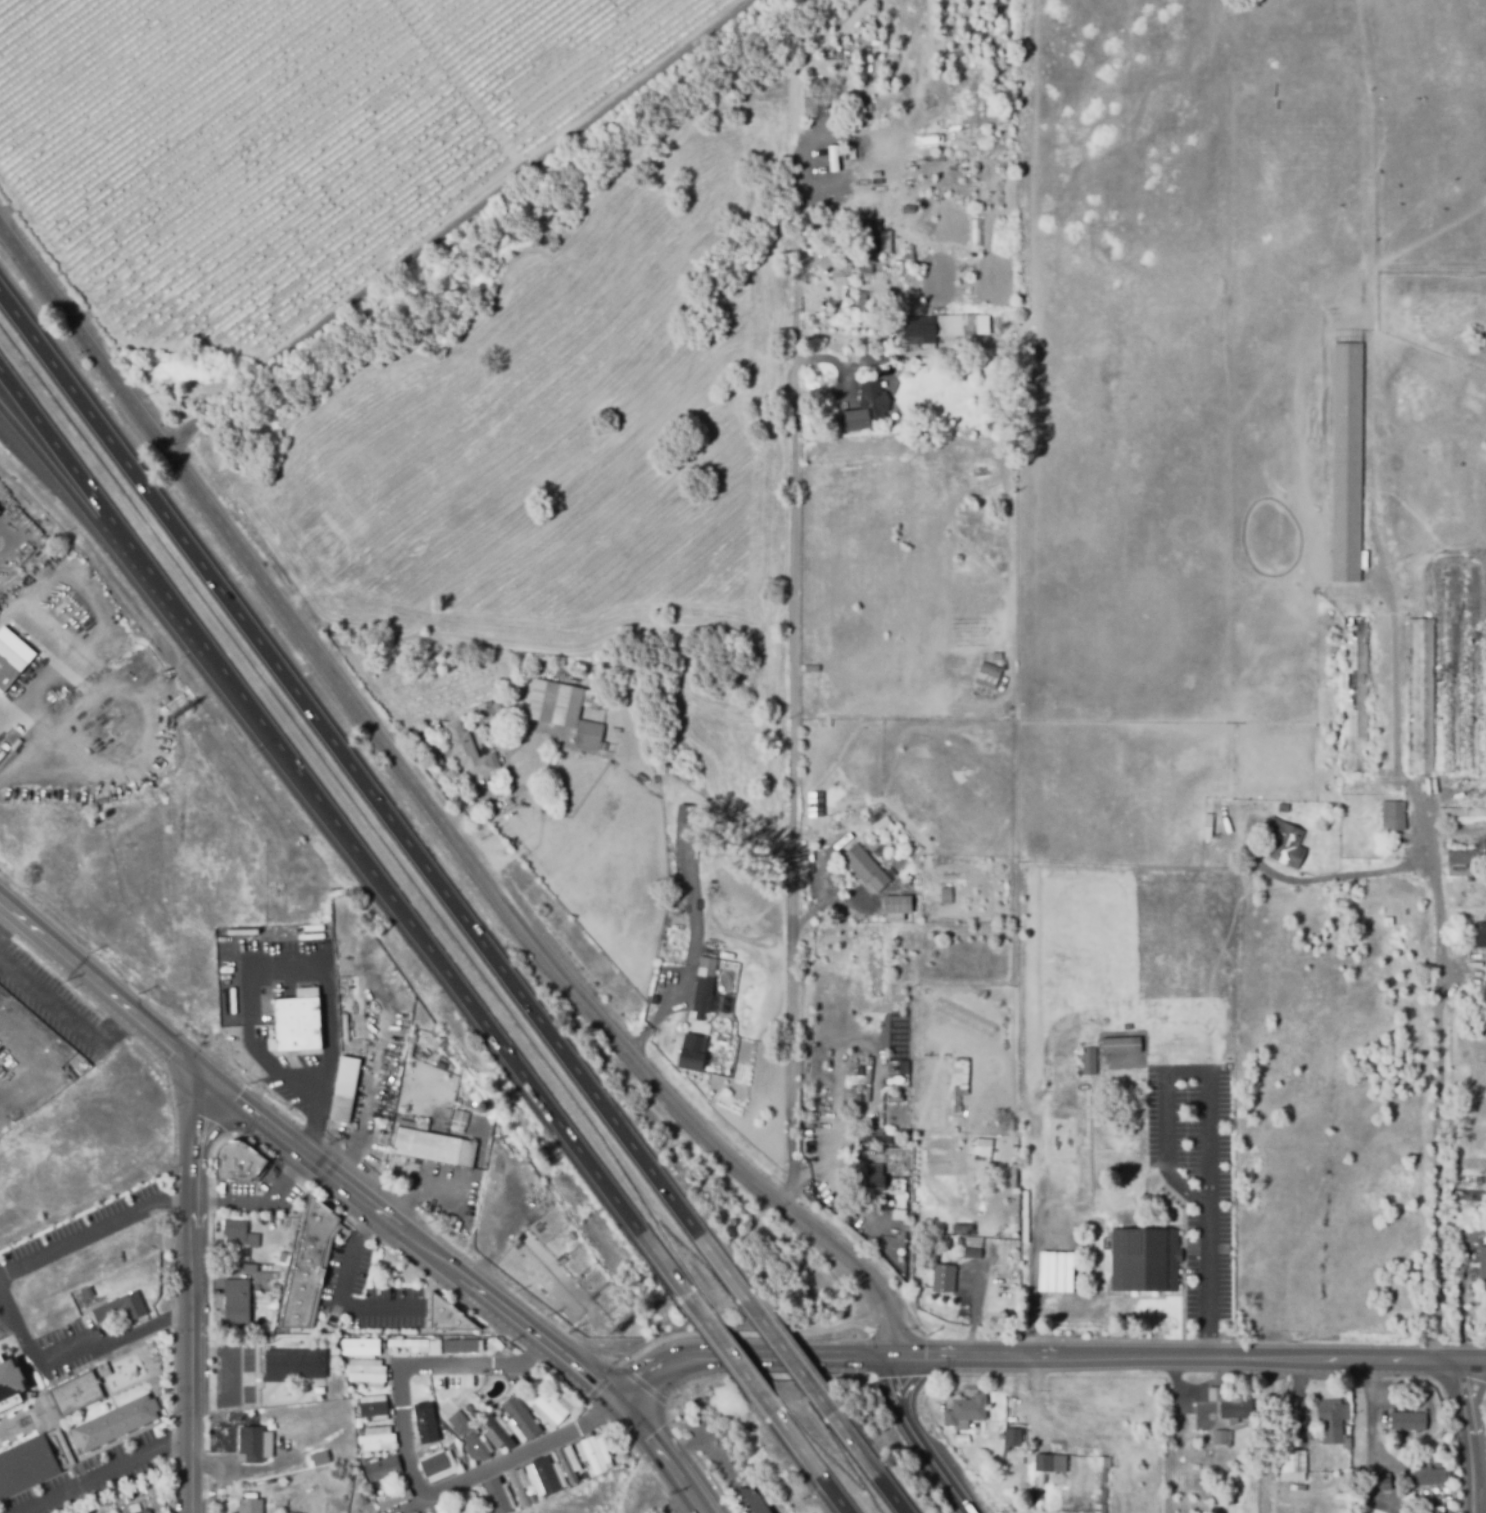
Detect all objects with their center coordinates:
road: (805, 58)
building: (809, 95)
building: (861, 108)
road: (905, 113)
road: (791, 202)
building: (905, 208)
road: (460, 227)
building: (974, 232)
building: (869, 239)
building: (906, 254)
building: (863, 269)
building: (857, 301)
building: (907, 307)
building: (946, 324)
building: (914, 330)
building: (871, 368)
road: (844, 384)
building: (862, 407)
building: (1349, 455)
building: (22, 498)
building: (0, 512)
road: (104, 537)
road: (12, 562)
building: (993, 656)
building: (9, 665)
building: (813, 668)
building: (985, 674)
building: (1358, 694)
building: (1423, 695)
building: (590, 698)
building: (545, 700)
building: (497, 707)
road: (794, 720)
building: (591, 733)
road: (1394, 740)
building: (469, 750)
building: (435, 757)
building: (563, 798)
road: (375, 802)
road: (432, 811)
building: (688, 813)
building: (1394, 814)
building: (1207, 824)
building: (1482, 835)
road: (342, 838)
building: (830, 841)
building: (1283, 843)
building: (889, 857)
building: (861, 866)
building: (902, 881)
building: (909, 884)
building: (943, 895)
building: (893, 902)
road: (841, 904)
building: (898, 917)
building: (1482, 933)
road: (292, 972)
road: (1457, 972)
building: (707, 984)
building: (661, 986)
building: (346, 990)
road: (107, 993)
road: (359, 997)
road: (46, 999)
road: (1439, 1009)
road: (652, 1010)
road: (108, 1023)
building: (353, 1025)
building: (300, 1027)
building: (687, 1053)
building: (1217, 1057)
building: (1090, 1061)
building: (1226, 1065)
building: (959, 1076)
building: (387, 1085)
building: (343, 1113)
road: (1206, 1115)
building: (876, 1141)
building: (436, 1150)
building: (979, 1153)
building: (1117, 1156)
building: (238, 1162)
building: (1086, 1166)
building: (874, 1168)
building: (1137, 1181)
road: (422, 1184)
building: (876, 1188)
road: (264, 1203)
building: (972, 1222)
road: (99, 1233)
building: (241, 1235)
building: (972, 1252)
building: (282, 1256)
building: (1485, 1259)
building: (1145, 1260)
building: (310, 1267)
building: (249, 1268)
building: (942, 1278)
road: (475, 1286)
building: (274, 1288)
road: (341, 1294)
road: (195, 1296)
building: (272, 1303)
road: (983, 1303)
building: (238, 1305)
building: (121, 1307)
building: (446, 1316)
road: (10, 1330)
building: (408, 1343)
building: (459, 1345)
building: (494, 1345)
building: (360, 1346)
road: (72, 1353)
road: (756, 1357)
road: (1192, 1358)
road: (733, 1362)
building: (297, 1364)
road: (791, 1364)
building: (103, 1369)
building: (366, 1372)
road: (230, 1377)
building: (11, 1384)
building: (76, 1395)
building: (373, 1407)
building: (966, 1408)
building: (1235, 1408)
building: (549, 1409)
road: (1370, 1414)
building: (521, 1417)
building: (1329, 1419)
building: (1407, 1420)
building: (458, 1422)
building: (116, 1425)
building: (502, 1435)
building: (1221, 1436)
road: (1471, 1436)
building: (1012, 1437)
building: (376, 1438)
building: (431, 1439)
road: (917, 1441)
building: (256, 1444)
building: (477, 1446)
road: (688, 1449)
building: (593, 1454)
building: (322, 1457)
building: (1292, 1459)
road: (414, 1463)
building: (435, 1463)
building: (565, 1465)
road: (866, 1466)
building: (27, 1468)
building: (382, 1468)
road: (811, 1469)
road: (240, 1474)
building: (1043, 1474)
road: (110, 1475)
building: (545, 1475)
road: (729, 1475)
building: (1426, 1475)
building: (1384, 1481)
building: (1101, 1482)
building: (517, 1488)
building: (496, 1495)
road: (738, 1498)
building: (394, 1499)
building: (753, 1500)
building: (465, 1502)
building: (251, 1506)
building: (440, 1508)
building: (1432, 1508)
building: (146, 1512)
building: (416, 1512)
building: (422, 1512)

